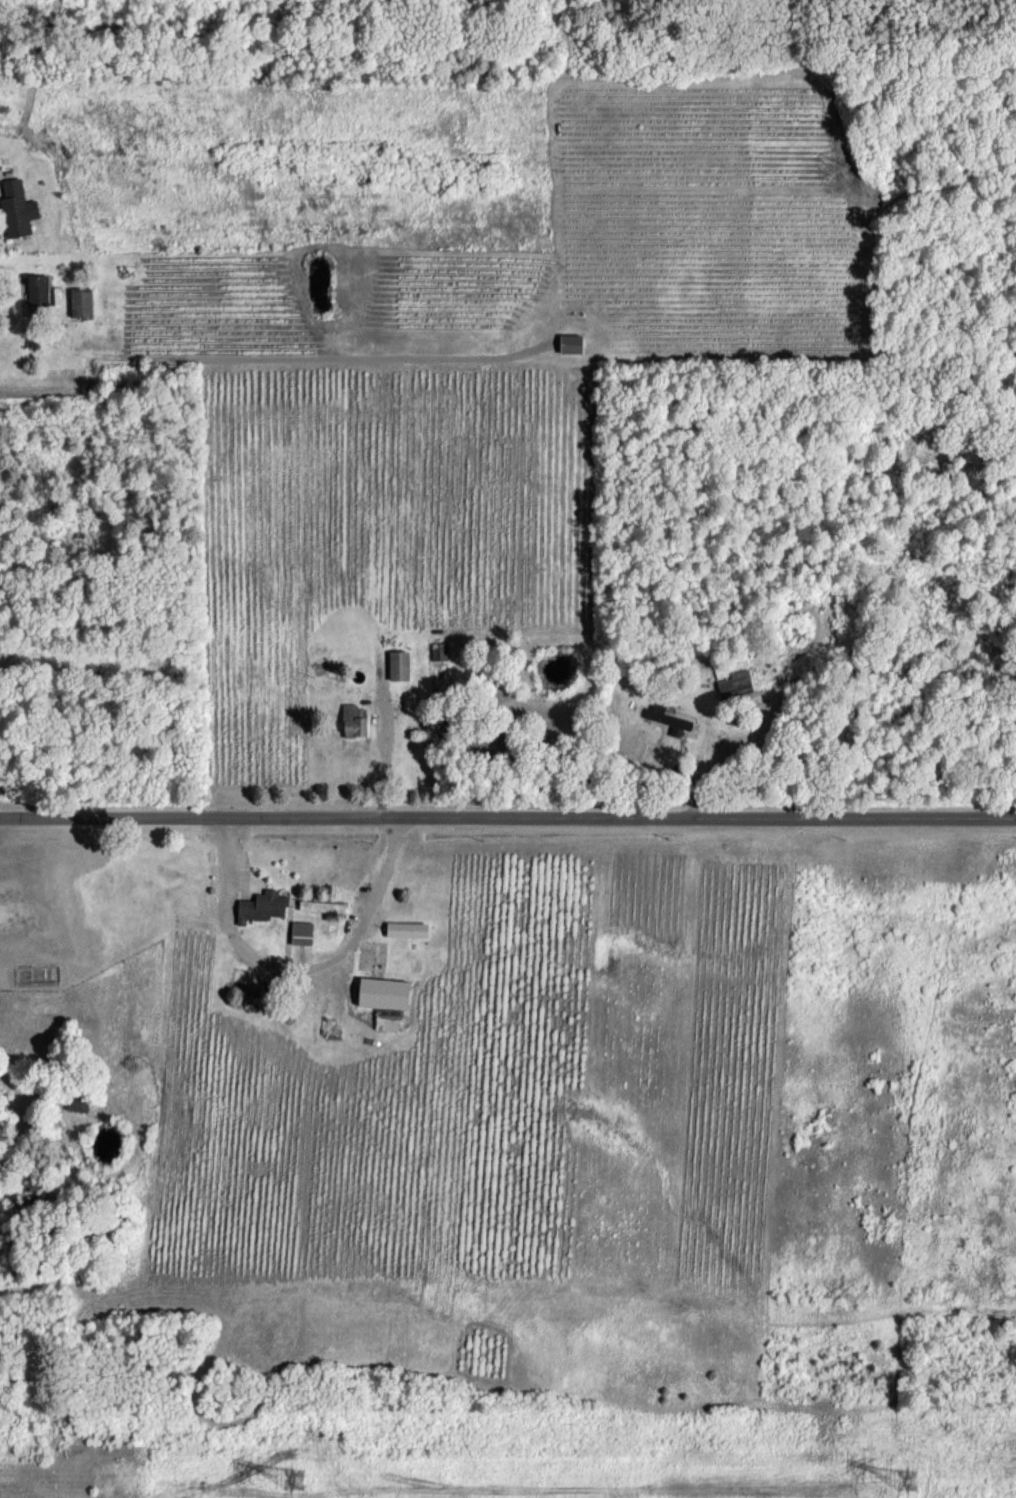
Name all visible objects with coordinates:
building: (16, 209)
building: (37, 290)
building: (80, 302)
building: (568, 342)
building: (398, 665)
building: (735, 684)
building: (668, 719)
building: (353, 720)
road: (385, 747)
road: (507, 812)
building: (261, 906)
building: (324, 907)
building: (405, 929)
building: (301, 932)
road: (293, 969)
building: (76, 1104)
power tower: (297, 1477)
power tower: (907, 1483)

